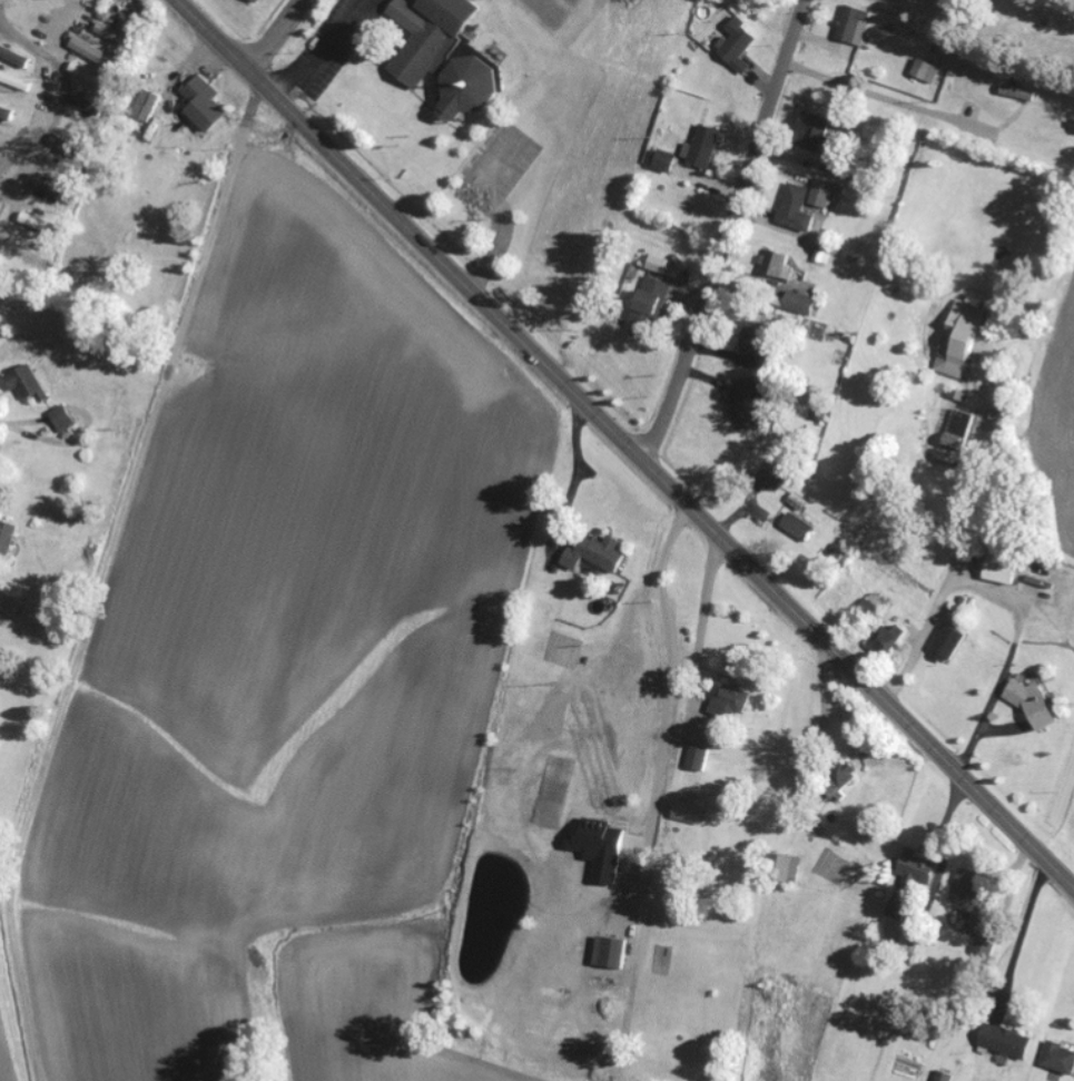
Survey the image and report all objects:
building: (257, 1)
road: (33, 13)
building: (856, 27)
building: (122, 33)
road: (277, 36)
building: (738, 43)
building: (446, 55)
building: (92, 79)
building: (14, 82)
building: (1024, 95)
road: (82, 98)
building: (204, 105)
building: (88, 107)
building: (9, 116)
building: (9, 141)
building: (707, 148)
building: (70, 149)
building: (3, 169)
building: (807, 205)
building: (0, 206)
road: (729, 233)
building: (780, 265)
building: (656, 296)
building: (804, 305)
building: (962, 340)
building: (31, 385)
building: (66, 421)
building: (958, 431)
road: (624, 444)
building: (8, 540)
building: (594, 556)
building: (1005, 567)
road: (973, 592)
building: (869, 611)
building: (886, 643)
building: (952, 646)
building: (570, 656)
building: (732, 700)
building: (1036, 705)
building: (697, 760)
building: (691, 814)
building: (924, 868)
building: (794, 871)
building: (614, 954)
building: (1009, 1042)
building: (1061, 1058)

